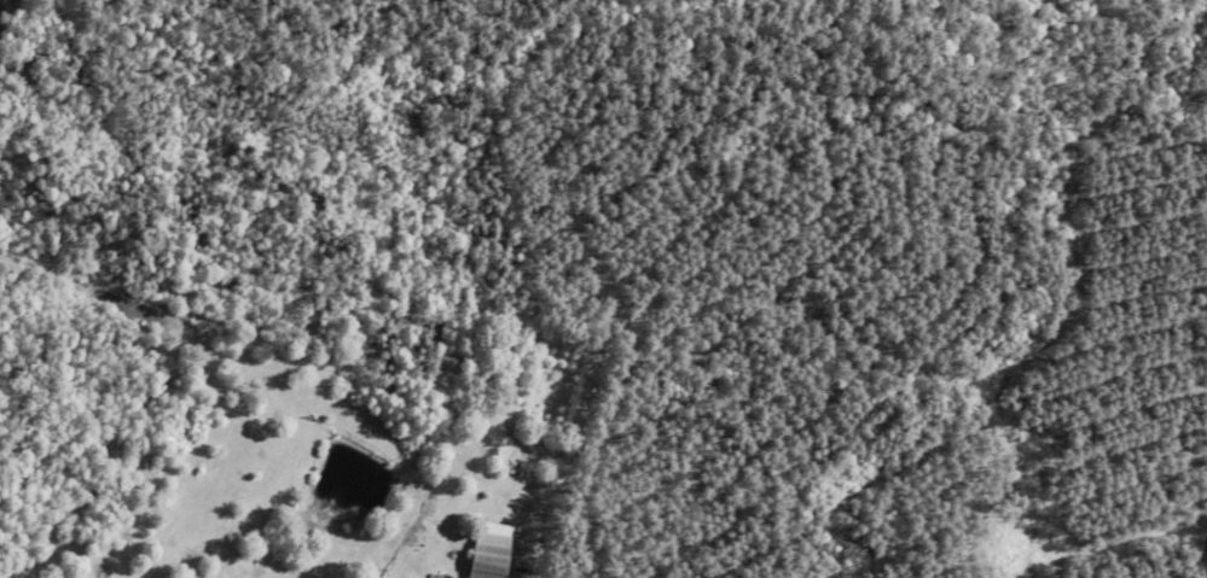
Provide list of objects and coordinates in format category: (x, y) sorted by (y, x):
building: (492, 554)

